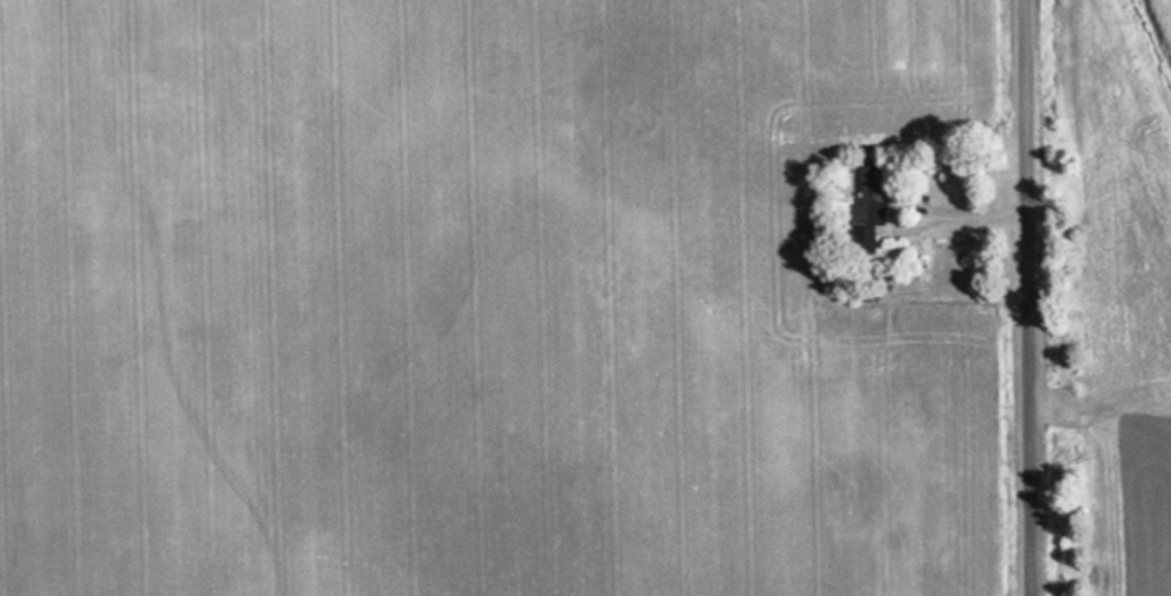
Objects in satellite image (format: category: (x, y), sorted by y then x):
building: (863, 213)
road: (1031, 298)

